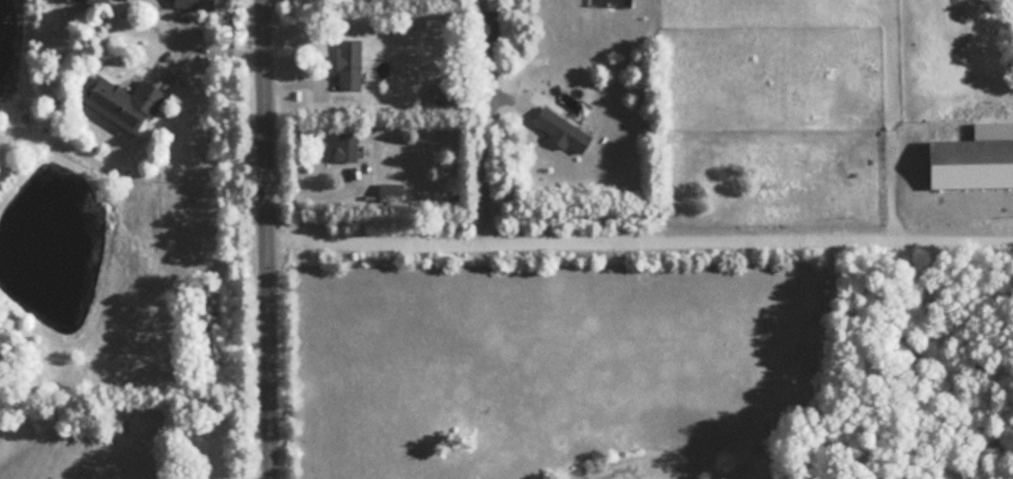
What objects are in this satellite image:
building: (91, 1)
building: (194, 4)
building: (350, 65)
building: (444, 91)
building: (124, 102)
building: (562, 130)
building: (347, 146)
building: (973, 163)
road: (480, 169)
road: (266, 239)
road: (640, 259)

